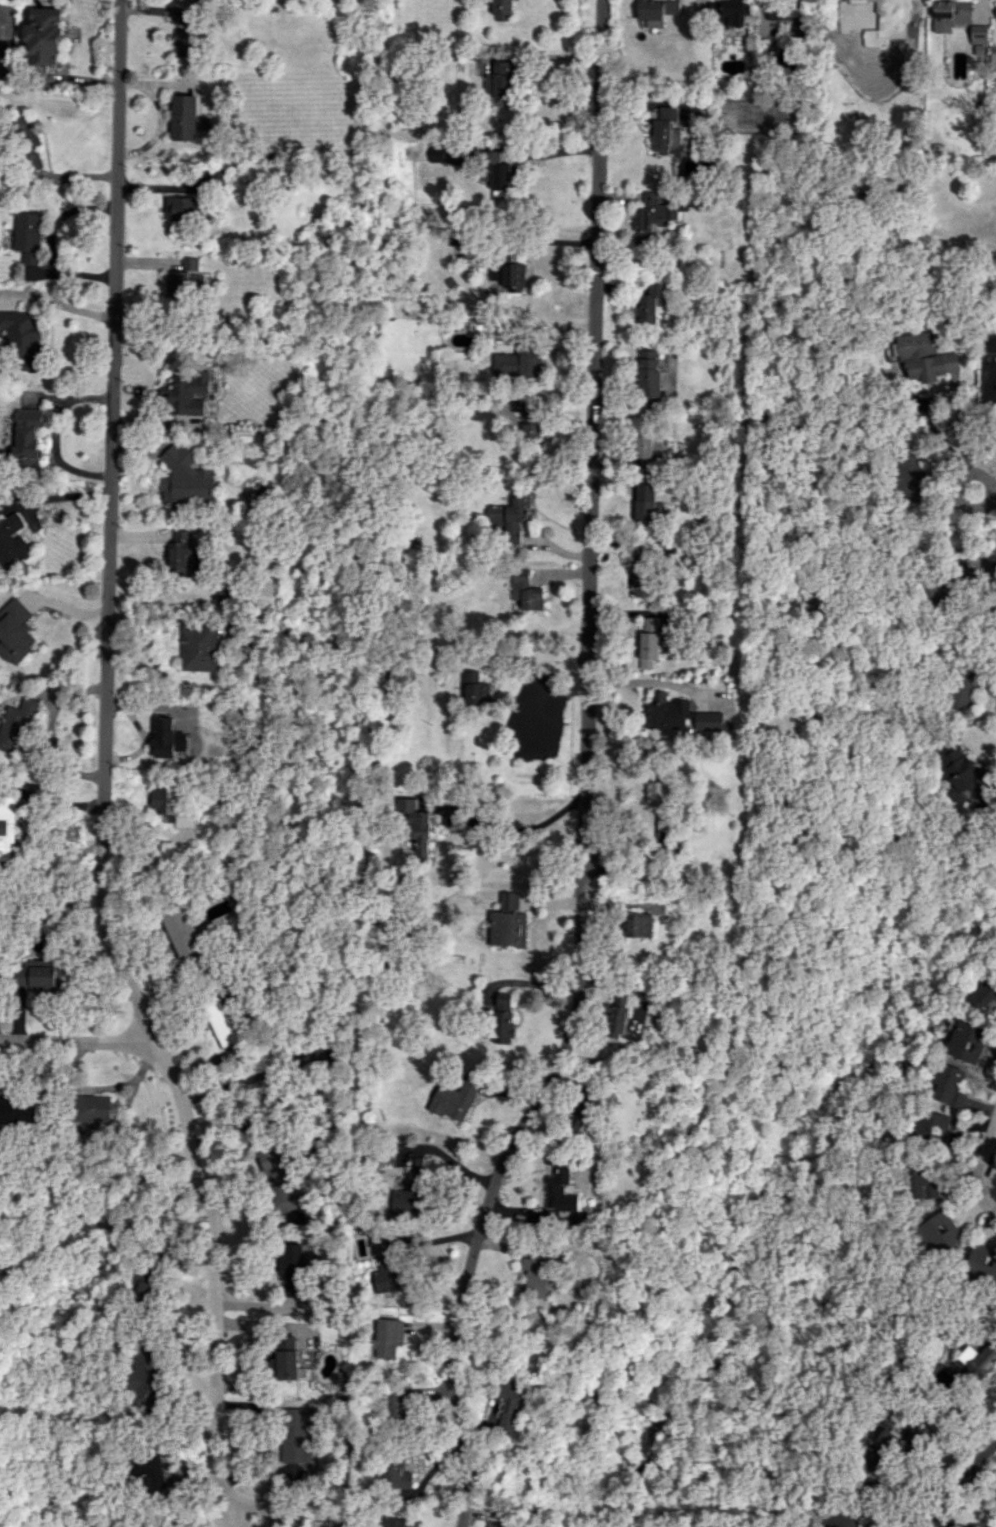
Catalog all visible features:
building: (501, 10)
building: (655, 11)
building: (728, 11)
building: (995, 13)
building: (950, 14)
building: (791, 17)
building: (186, 19)
building: (881, 27)
building: (978, 34)
building: (43, 36)
building: (183, 43)
building: (992, 61)
building: (498, 81)
building: (183, 118)
building: (666, 129)
building: (26, 139)
road: (551, 152)
building: (435, 154)
building: (457, 154)
building: (495, 173)
building: (182, 209)
building: (651, 216)
road: (938, 231)
building: (26, 236)
road: (49, 241)
building: (513, 277)
building: (180, 284)
building: (649, 304)
building: (23, 341)
building: (988, 344)
building: (926, 358)
building: (517, 363)
building: (647, 375)
road: (940, 396)
building: (527, 422)
road: (54, 436)
building: (26, 437)
building: (647, 452)
building: (910, 475)
building: (185, 480)
building: (992, 492)
road: (957, 495)
road: (54, 498)
building: (644, 503)
building: (510, 516)
building: (12, 540)
building: (183, 552)
building: (642, 577)
building: (525, 593)
building: (225, 595)
building: (14, 632)
building: (648, 641)
building: (197, 647)
road: (524, 651)
building: (400, 676)
road: (439, 685)
building: (475, 690)
building: (962, 690)
building: (665, 713)
building: (709, 722)
building: (12, 728)
building: (166, 738)
road: (102, 770)
road: (585, 777)
building: (660, 803)
building: (171, 807)
building: (6, 826)
building: (415, 828)
road: (512, 831)
building: (508, 922)
building: (637, 925)
building: (181, 930)
building: (45, 978)
building: (983, 993)
building: (502, 1017)
building: (614, 1020)
building: (221, 1022)
road: (76, 1041)
building: (966, 1042)
building: (949, 1086)
building: (455, 1097)
building: (92, 1108)
building: (19, 1113)
building: (580, 1113)
building: (932, 1127)
road: (448, 1160)
building: (418, 1168)
road: (982, 1171)
building: (284, 1177)
building: (921, 1182)
building: (557, 1186)
building: (406, 1201)
building: (940, 1232)
building: (385, 1264)
building: (295, 1269)
building: (531, 1277)
building: (147, 1287)
building: (386, 1337)
building: (288, 1357)
building: (148, 1375)
building: (397, 1401)
building: (510, 1407)
building: (298, 1438)
building: (155, 1471)
building: (396, 1476)
road: (962, 1479)
road: (266, 1507)
road: (246, 1518)
building: (943, 1520)
building: (391, 1522)
road: (279, 1524)
building: (493, 1524)
building: (871, 1526)

